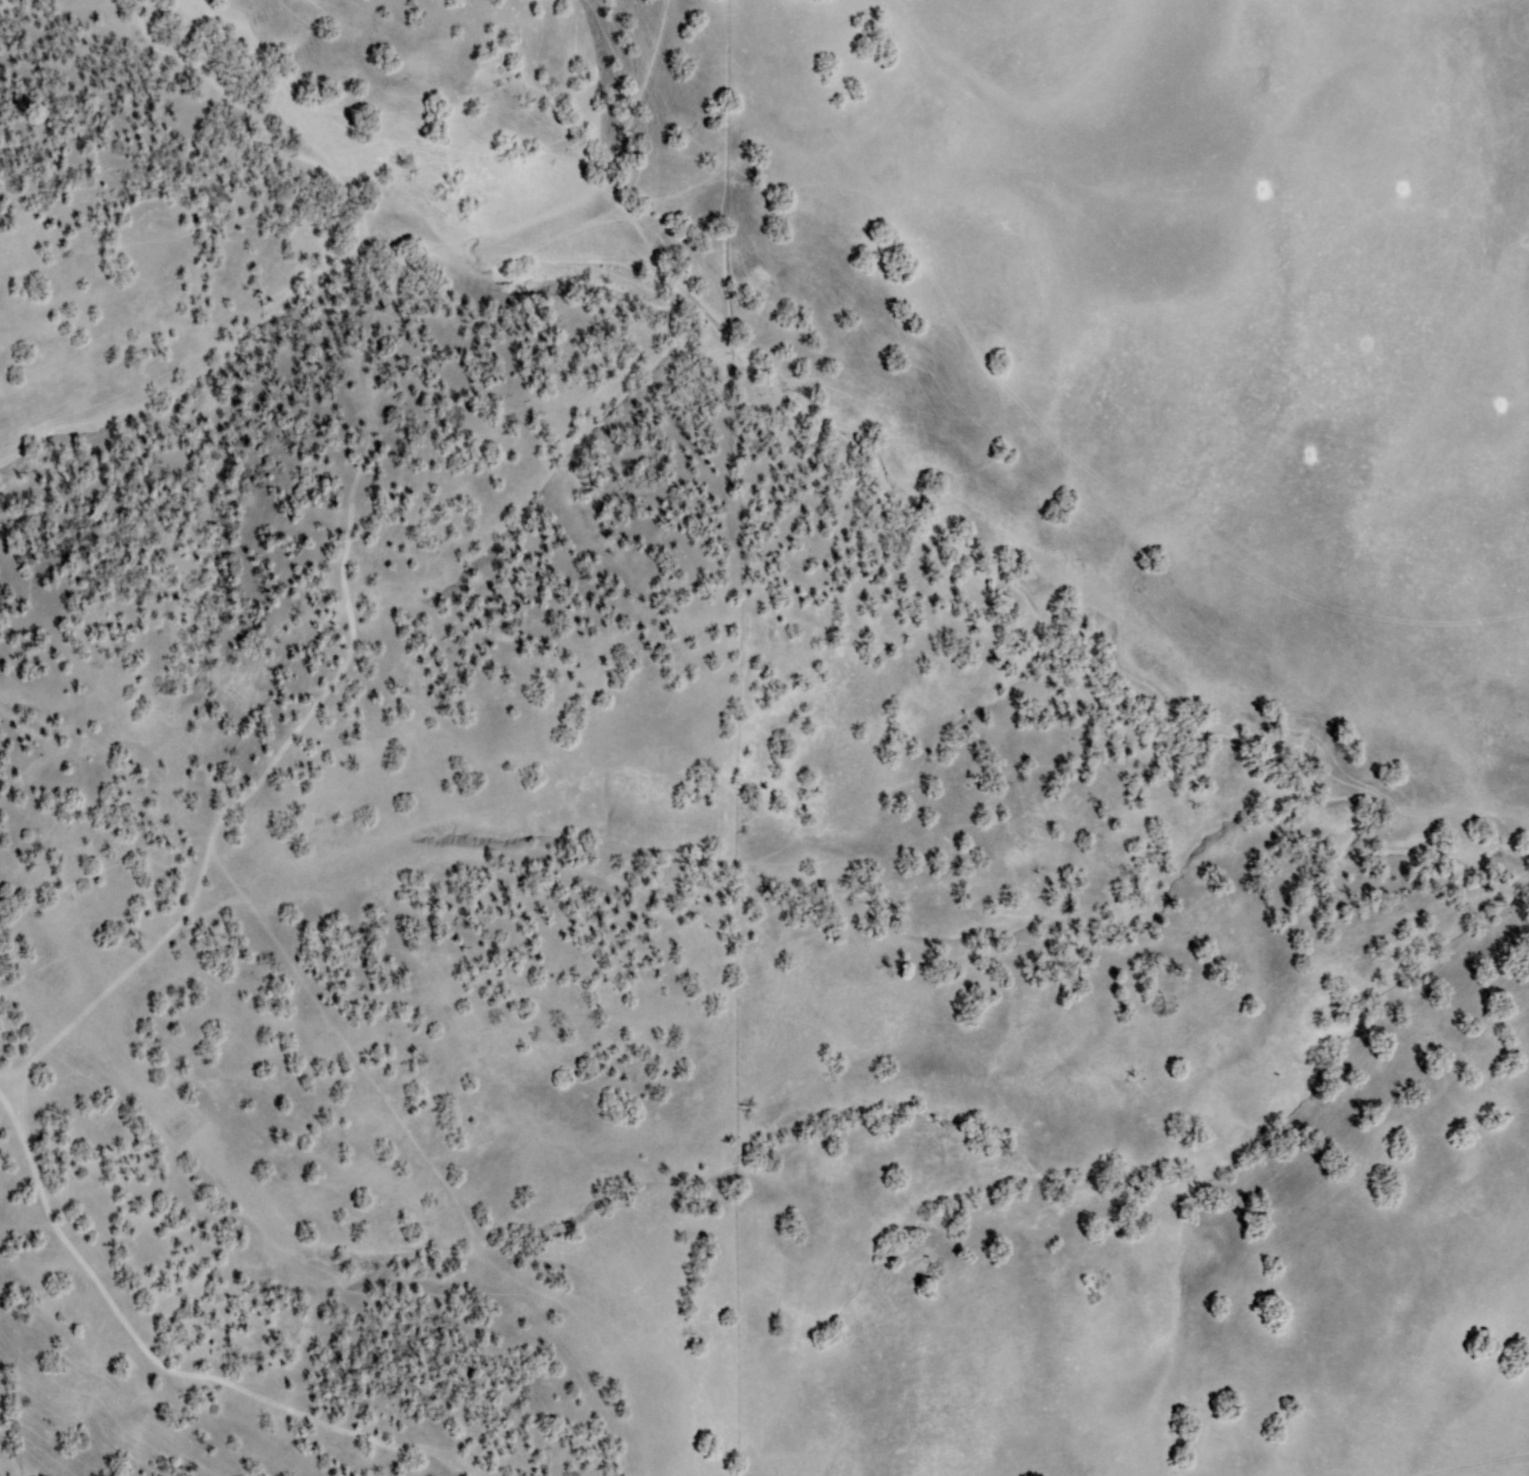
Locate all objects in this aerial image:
road: (196, 1362)

